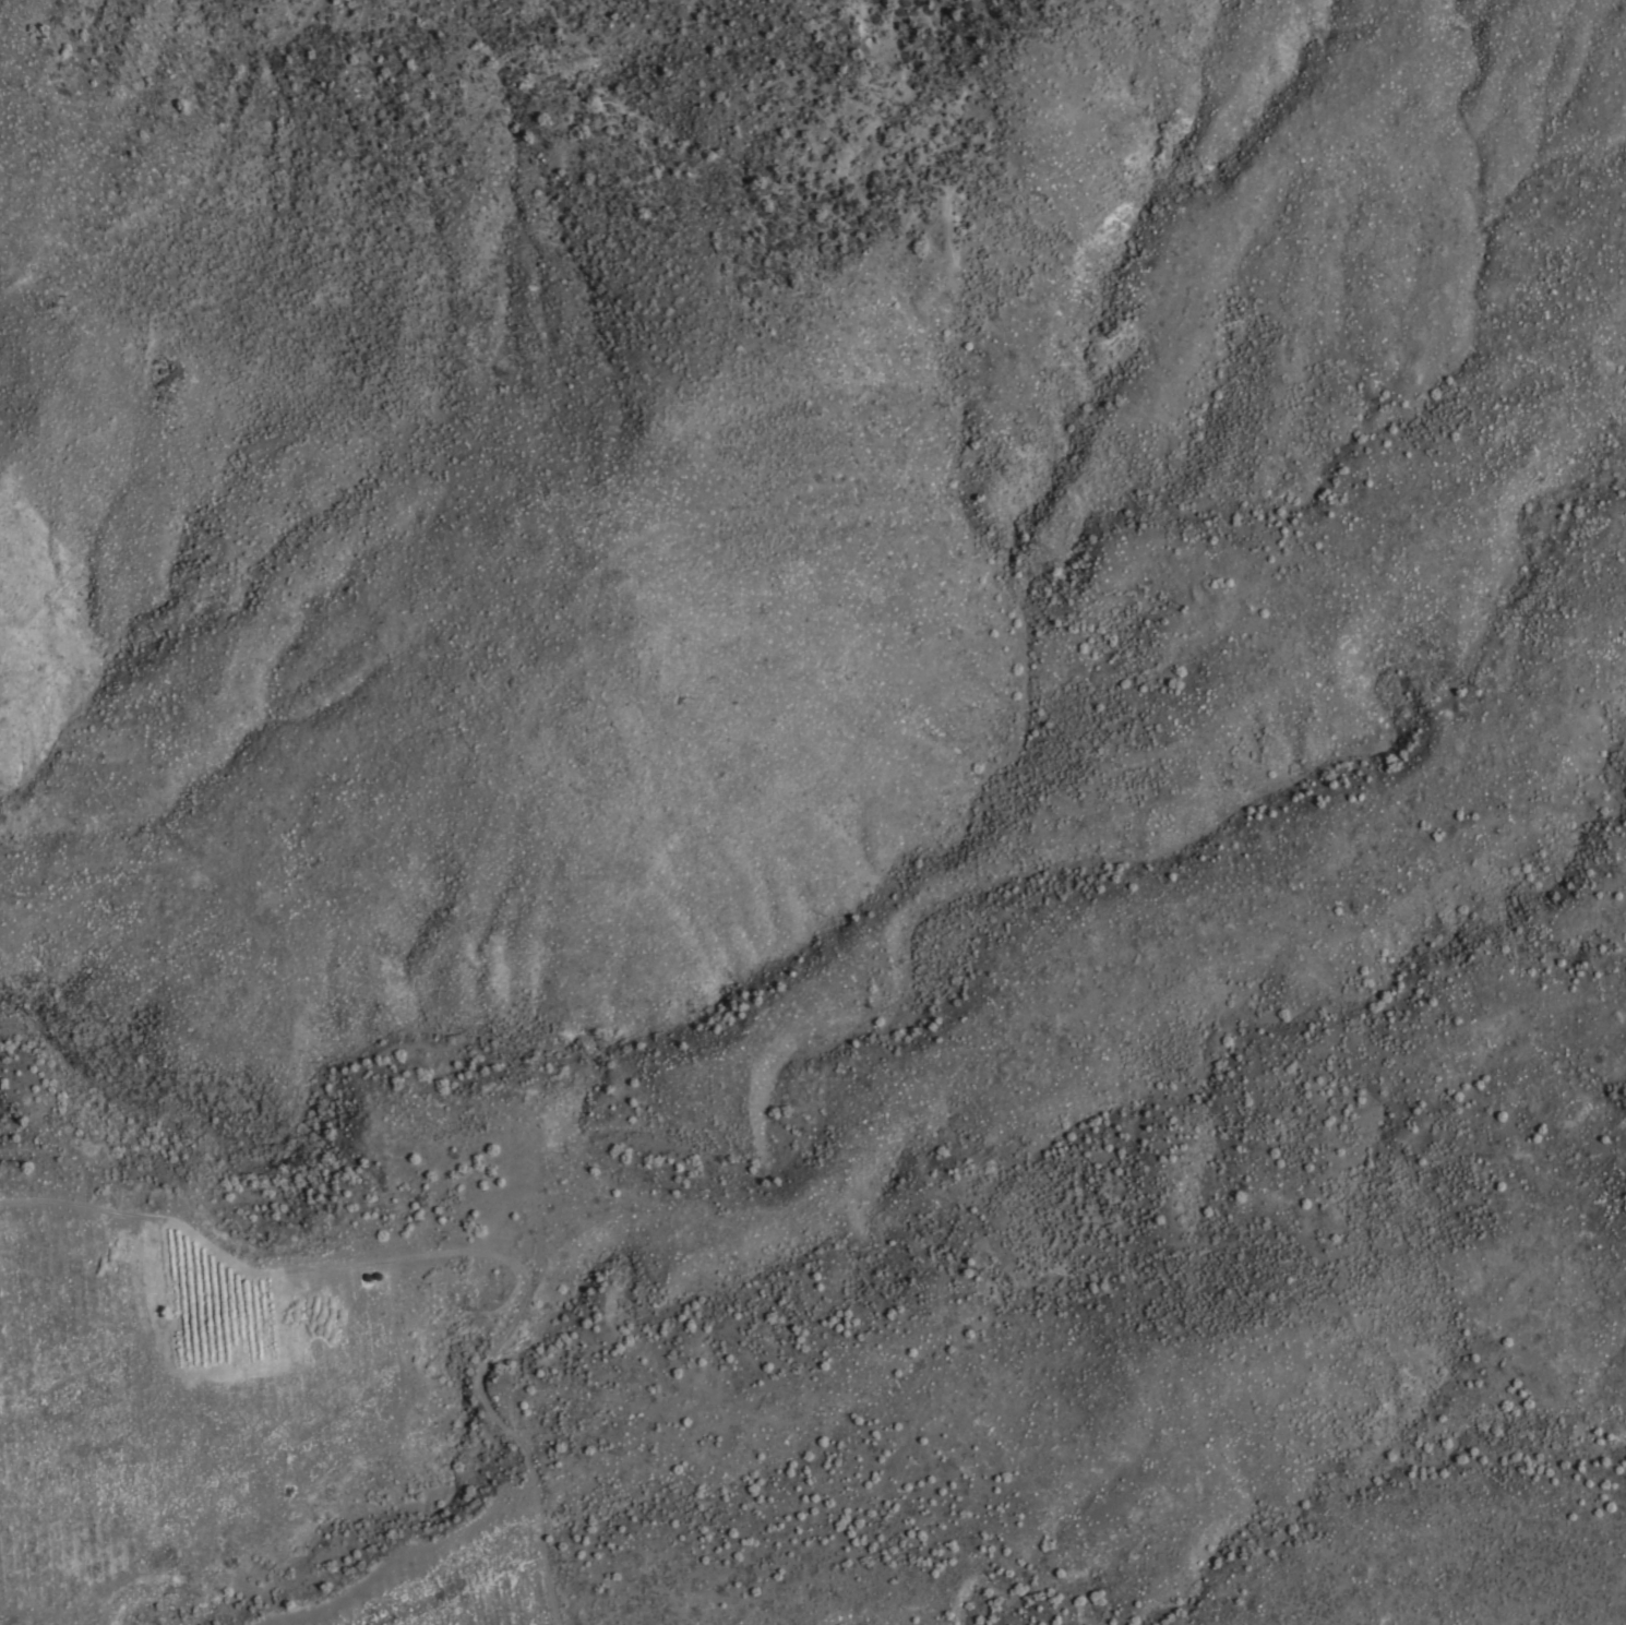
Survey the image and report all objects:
crop: (186, 1403)
crop: (445, 1591)

